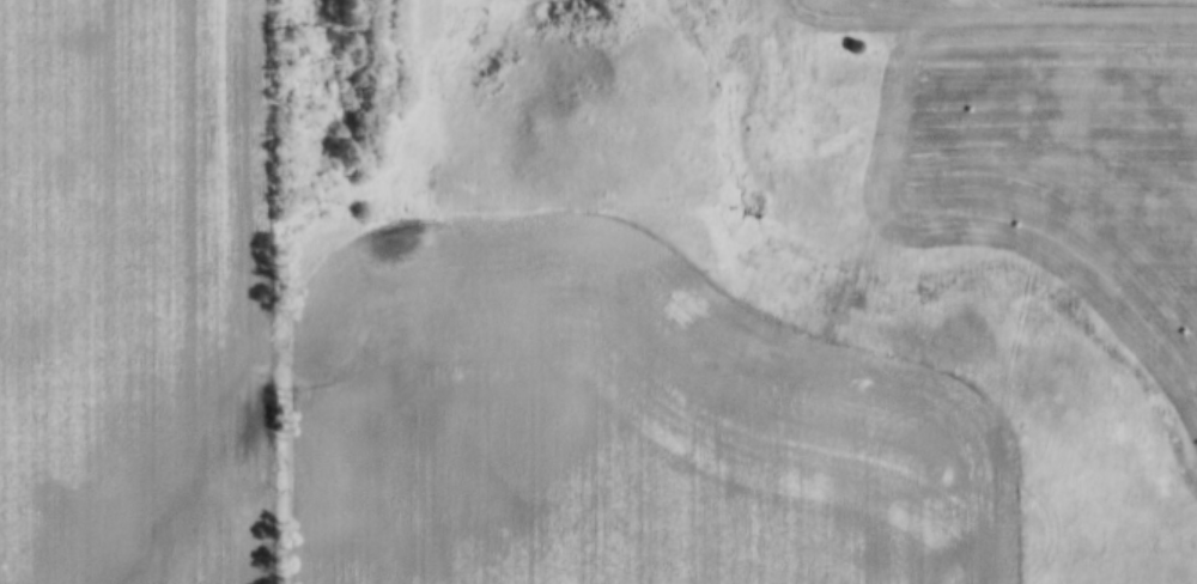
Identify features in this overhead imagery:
road: (1029, 13)

